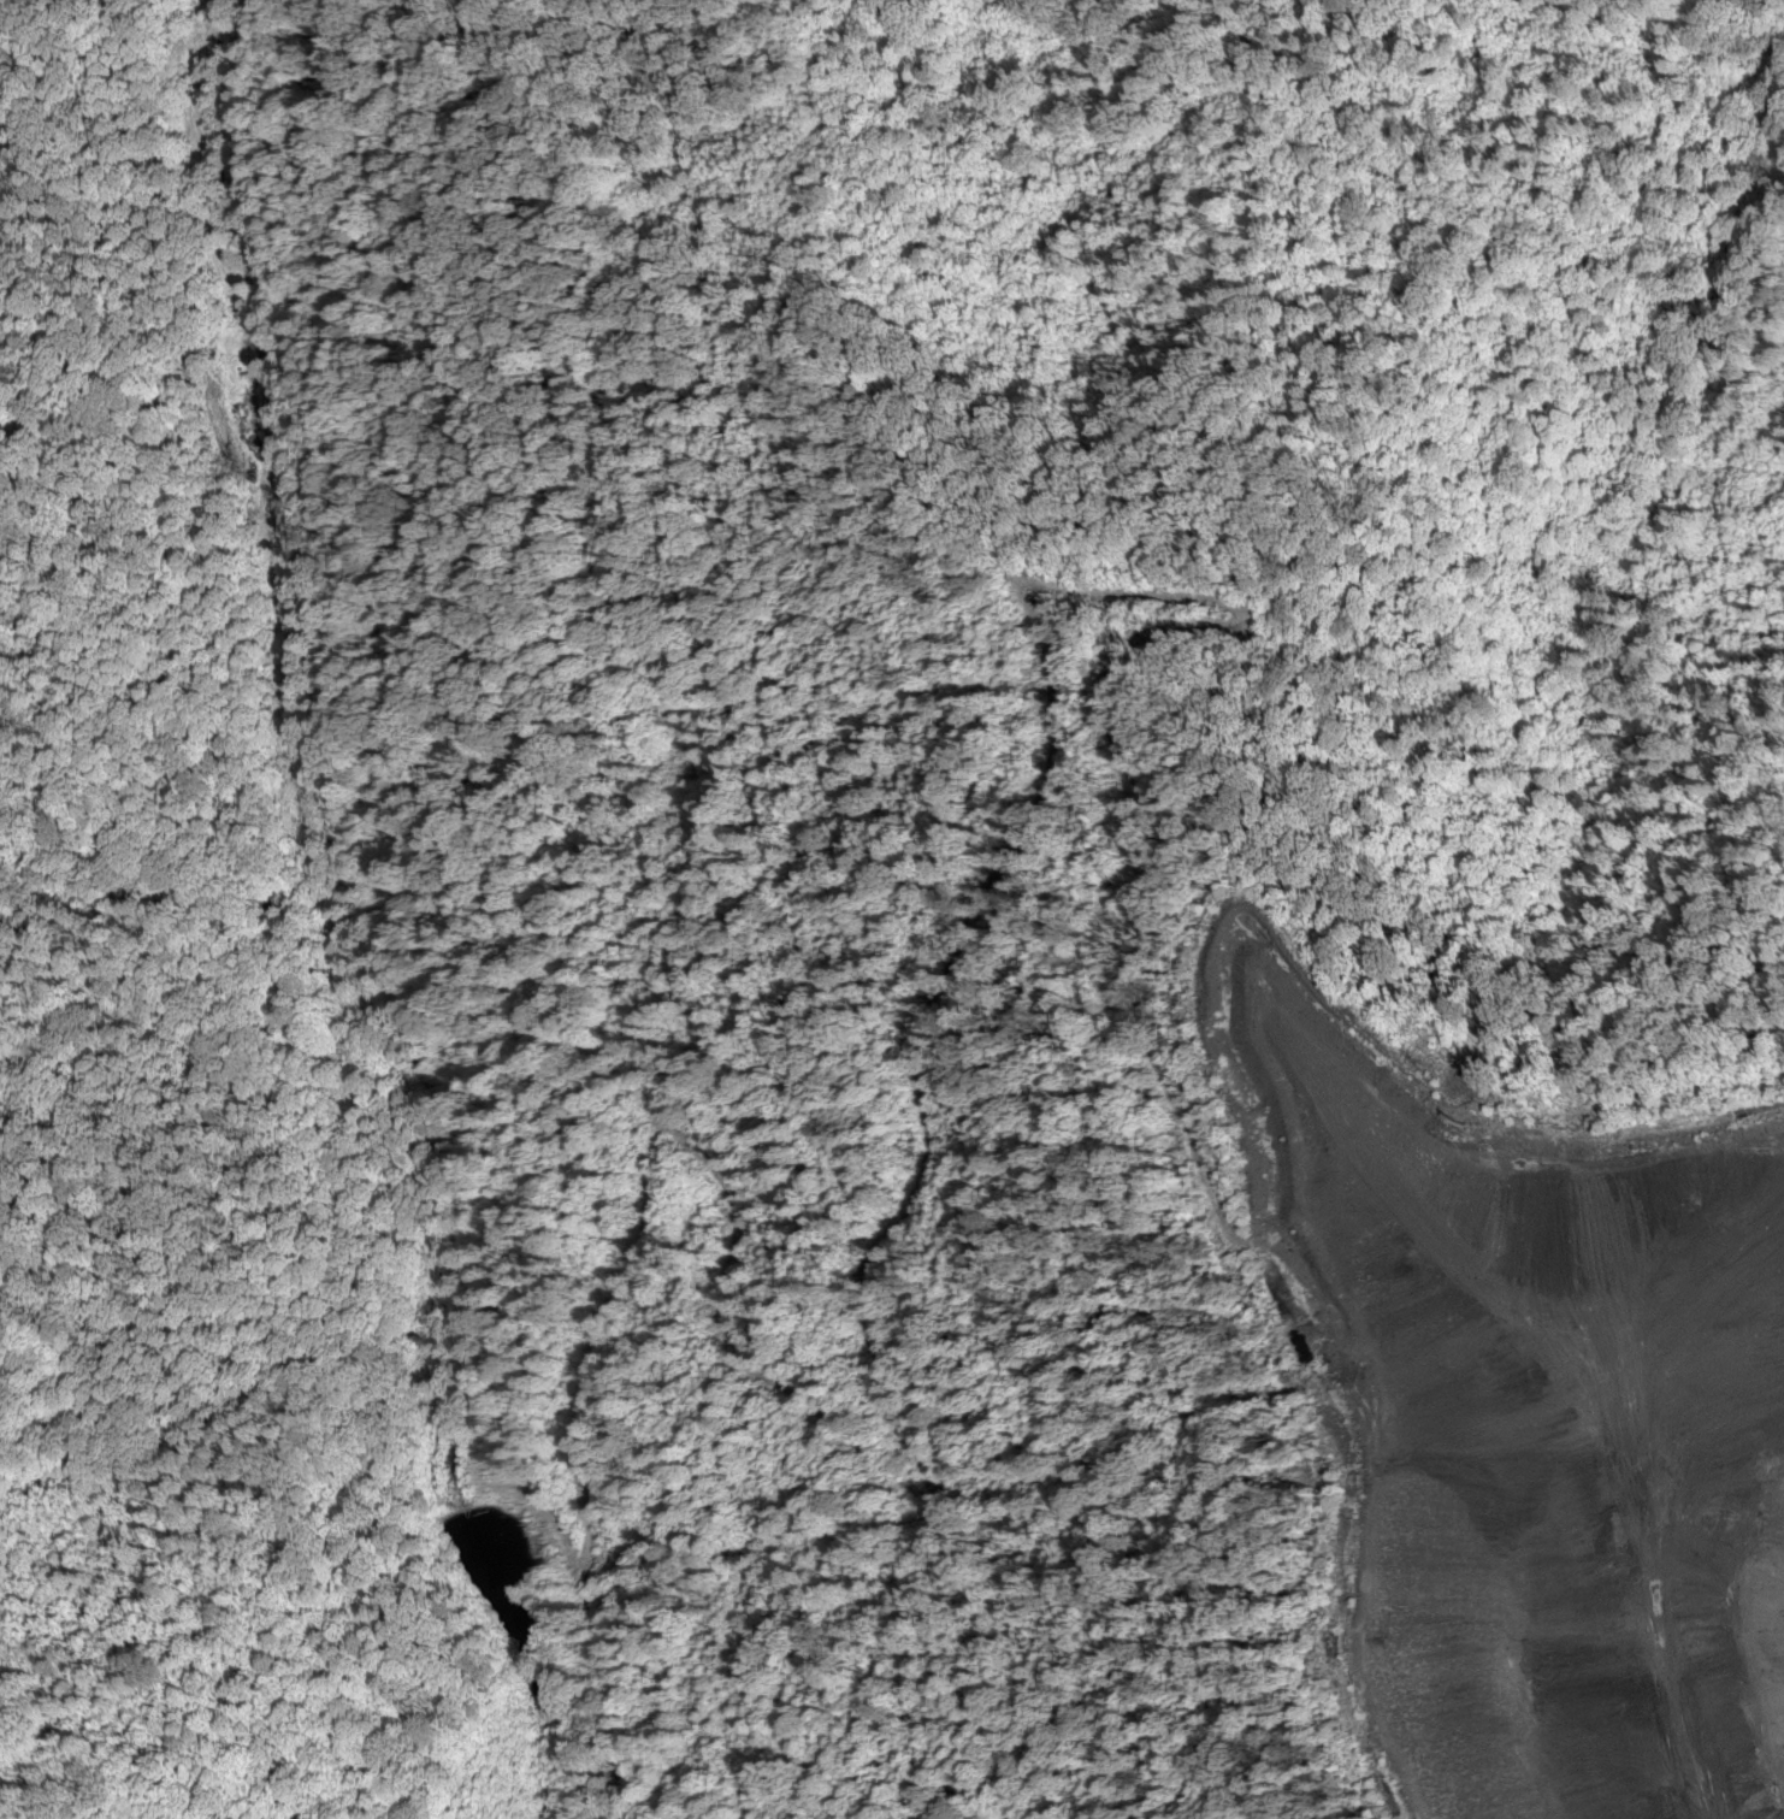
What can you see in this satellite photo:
road: (249, 176)
building: (248, 424)
quarry: (1506, 1401)

